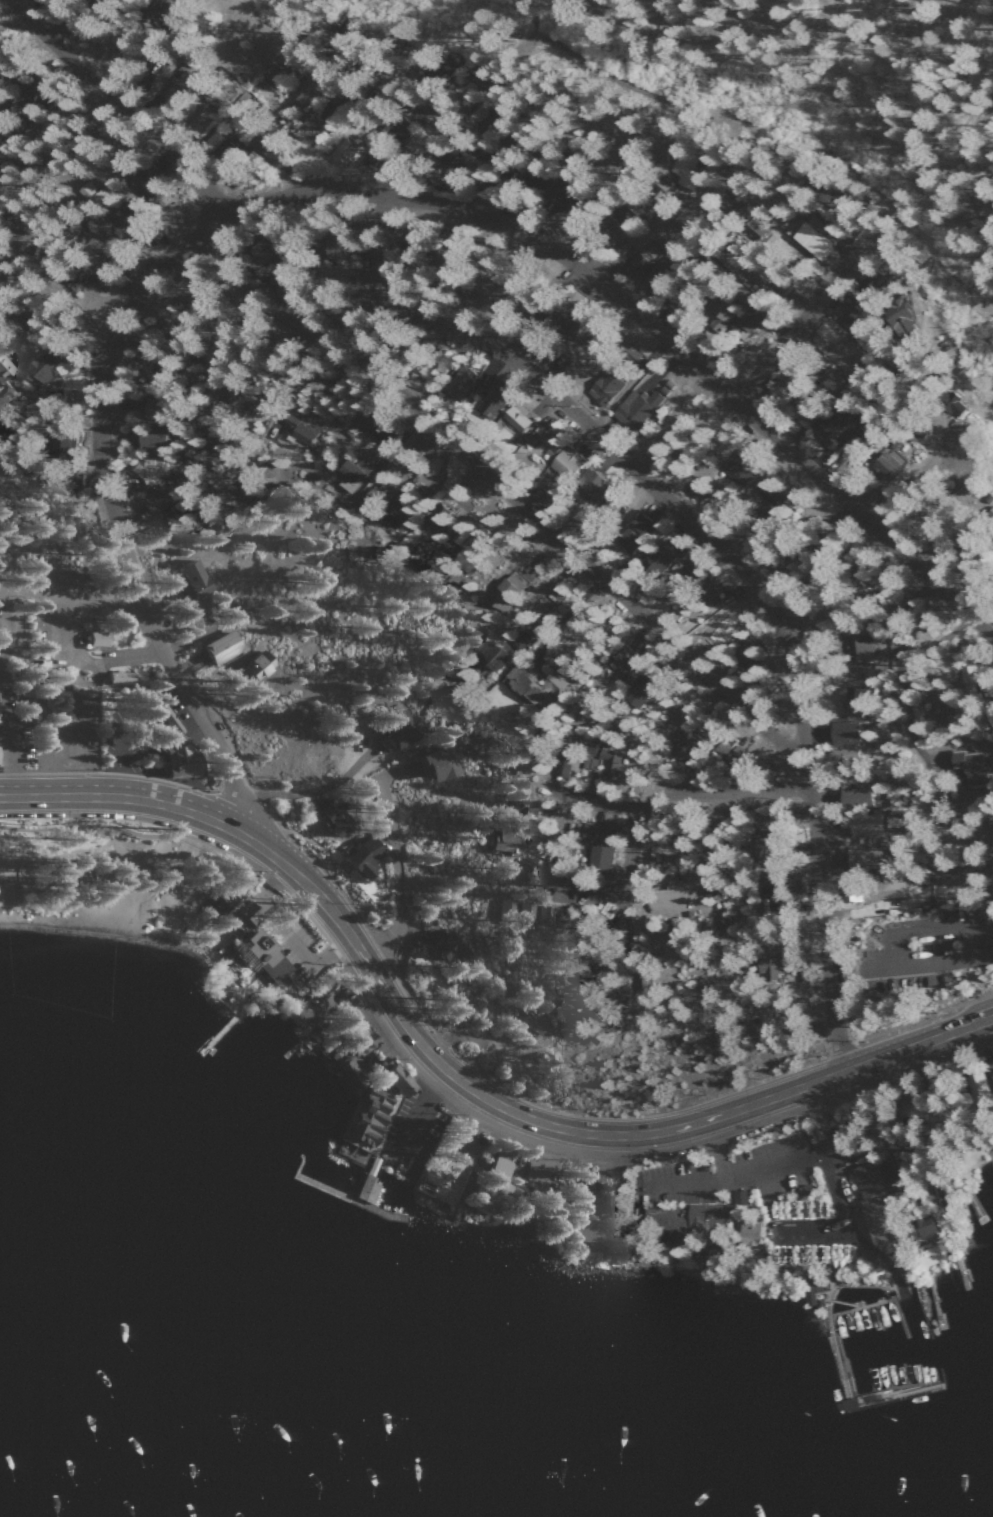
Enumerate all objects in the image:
road: (662, 12)
road: (520, 18)
building: (172, 19)
road: (705, 28)
building: (270, 74)
building: (189, 84)
road: (635, 90)
building: (304, 92)
road: (408, 96)
road: (117, 104)
building: (333, 110)
road: (917, 128)
building: (402, 130)
building: (274, 148)
road: (418, 159)
building: (685, 170)
building: (157, 185)
road: (339, 194)
building: (557, 195)
building: (622, 215)
building: (141, 218)
building: (752, 229)
building: (811, 240)
building: (635, 266)
road: (50, 304)
road: (808, 304)
building: (565, 316)
building: (850, 316)
building: (896, 316)
building: (745, 322)
building: (841, 355)
building: (442, 359)
building: (164, 362)
building: (62, 365)
building: (459, 384)
building: (604, 388)
building: (494, 396)
building: (951, 404)
building: (635, 407)
building: (165, 409)
building: (800, 414)
building: (515, 417)
building: (825, 429)
building: (302, 430)
building: (163, 440)
building: (555, 453)
building: (886, 462)
building: (157, 469)
building: (352, 471)
building: (590, 483)
building: (169, 497)
road: (681, 511)
building: (640, 522)
building: (987, 522)
building: (454, 537)
road: (556, 538)
building: (655, 557)
building: (458, 559)
building: (195, 579)
building: (502, 588)
building: (707, 588)
road: (67, 594)
building: (223, 609)
building: (712, 628)
building: (517, 638)
building: (99, 639)
building: (859, 644)
building: (215, 647)
building: (488, 654)
road: (898, 661)
building: (251, 665)
building: (621, 666)
building: (968, 674)
building: (115, 678)
building: (530, 685)
building: (641, 692)
building: (851, 703)
building: (165, 718)
road: (124, 726)
building: (391, 727)
building: (841, 731)
road: (10, 740)
building: (680, 745)
building: (0, 753)
building: (588, 756)
building: (171, 757)
building: (609, 761)
building: (428, 762)
building: (565, 764)
building: (966, 766)
road: (308, 792)
road: (669, 794)
road: (116, 795)
building: (853, 796)
road: (590, 800)
building: (521, 810)
building: (327, 816)
building: (761, 821)
building: (864, 824)
building: (499, 840)
building: (597, 845)
building: (758, 848)
building: (861, 856)
building: (356, 857)
park: (97, 878)
road: (692, 878)
road: (394, 881)
road: (572, 889)
building: (871, 891)
building: (216, 901)
building: (512, 911)
building: (540, 915)
building: (559, 918)
building: (721, 922)
road: (889, 945)
building: (441, 946)
building: (257, 955)
building: (767, 967)
pier: (220, 1027)
building: (355, 1044)
pier: (293, 1046)
building: (340, 1069)
building: (990, 1069)
building: (384, 1076)
building: (975, 1084)
building: (910, 1111)
road: (553, 1132)
road: (719, 1149)
road: (768, 1163)
road: (582, 1170)
building: (888, 1173)
building: (482, 1178)
pier: (313, 1184)
pier: (971, 1199)
pier: (355, 1203)
building: (872, 1205)
road: (839, 1219)
building: (594, 1220)
building: (688, 1223)
building: (920, 1230)
building: (749, 1232)
road: (863, 1243)
building: (830, 1251)
pier: (960, 1266)
pier: (879, 1300)
pier: (936, 1300)
pier: (850, 1394)
building: (849, 1404)

